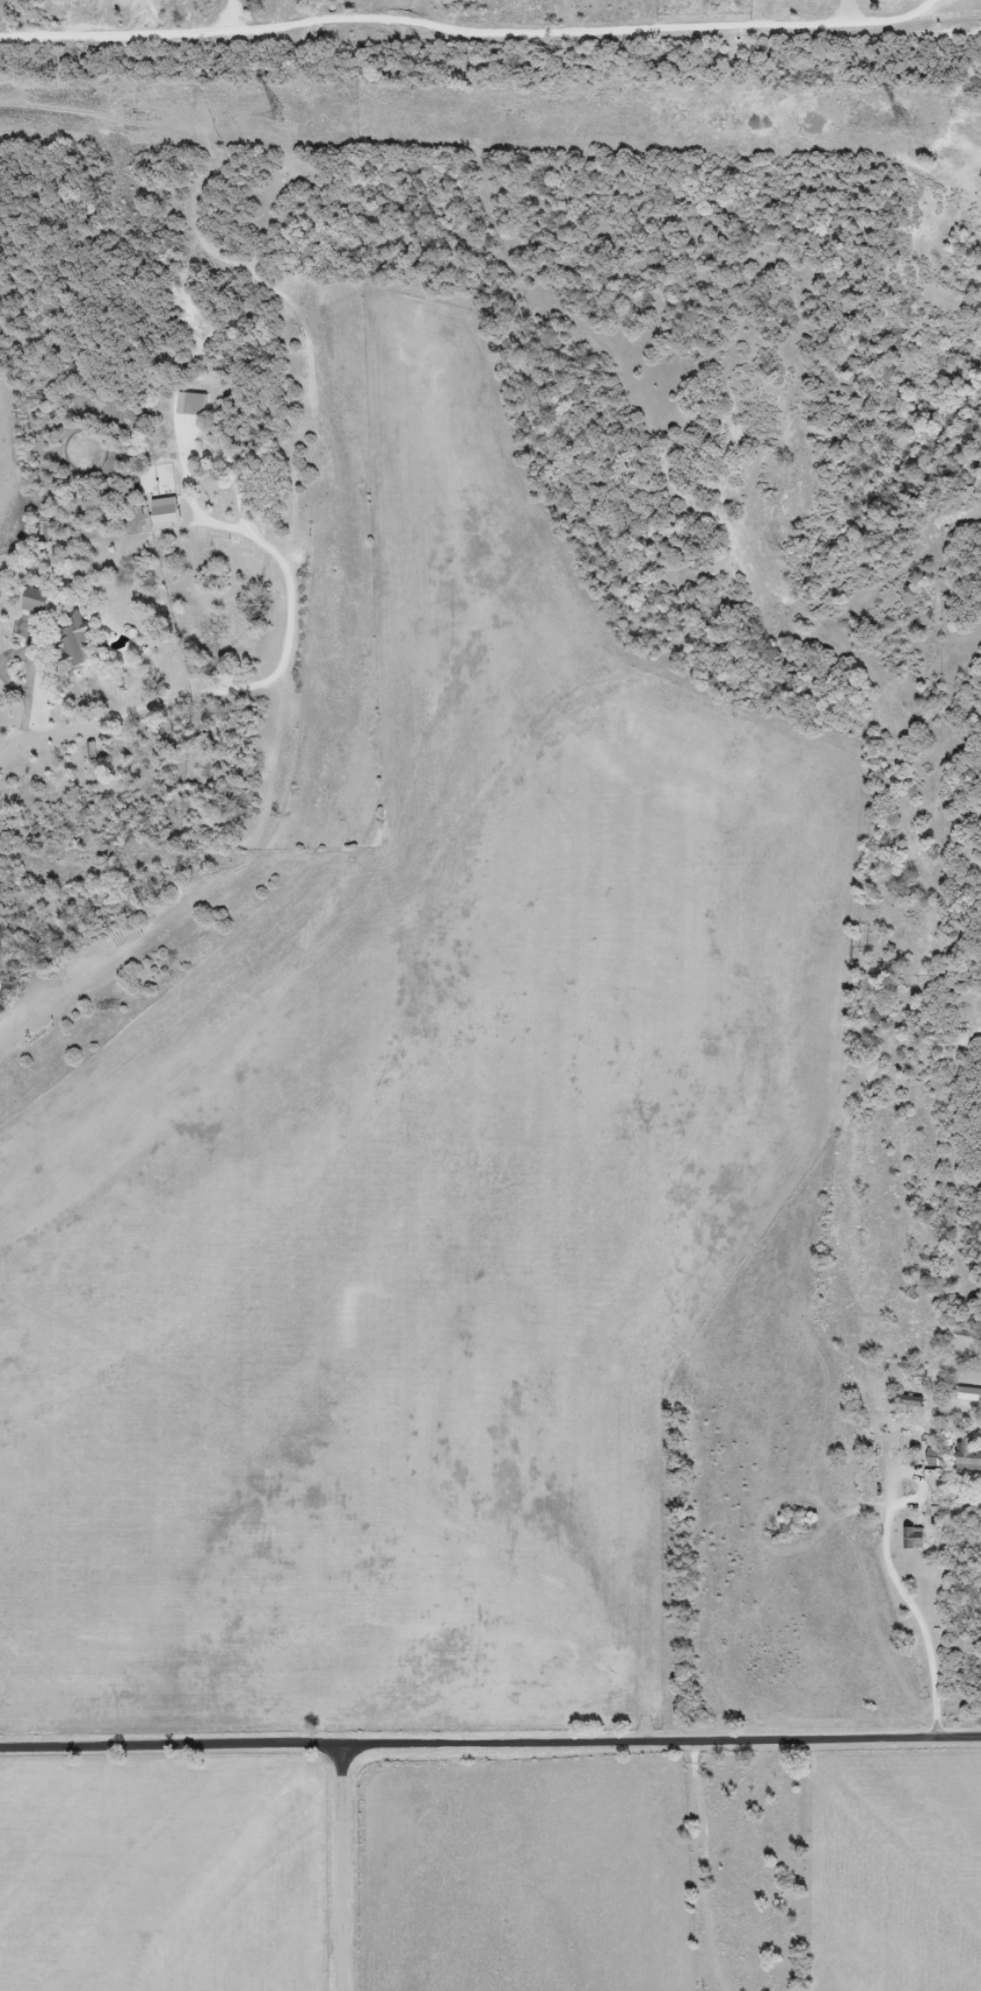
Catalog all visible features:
power tower: (279, 115)
power tower: (904, 123)
building: (36, 603)
building: (75, 642)
building: (92, 751)
building: (970, 1394)
building: (969, 1455)
building: (915, 1538)
road: (917, 1620)
road: (490, 1742)
road: (340, 1867)

